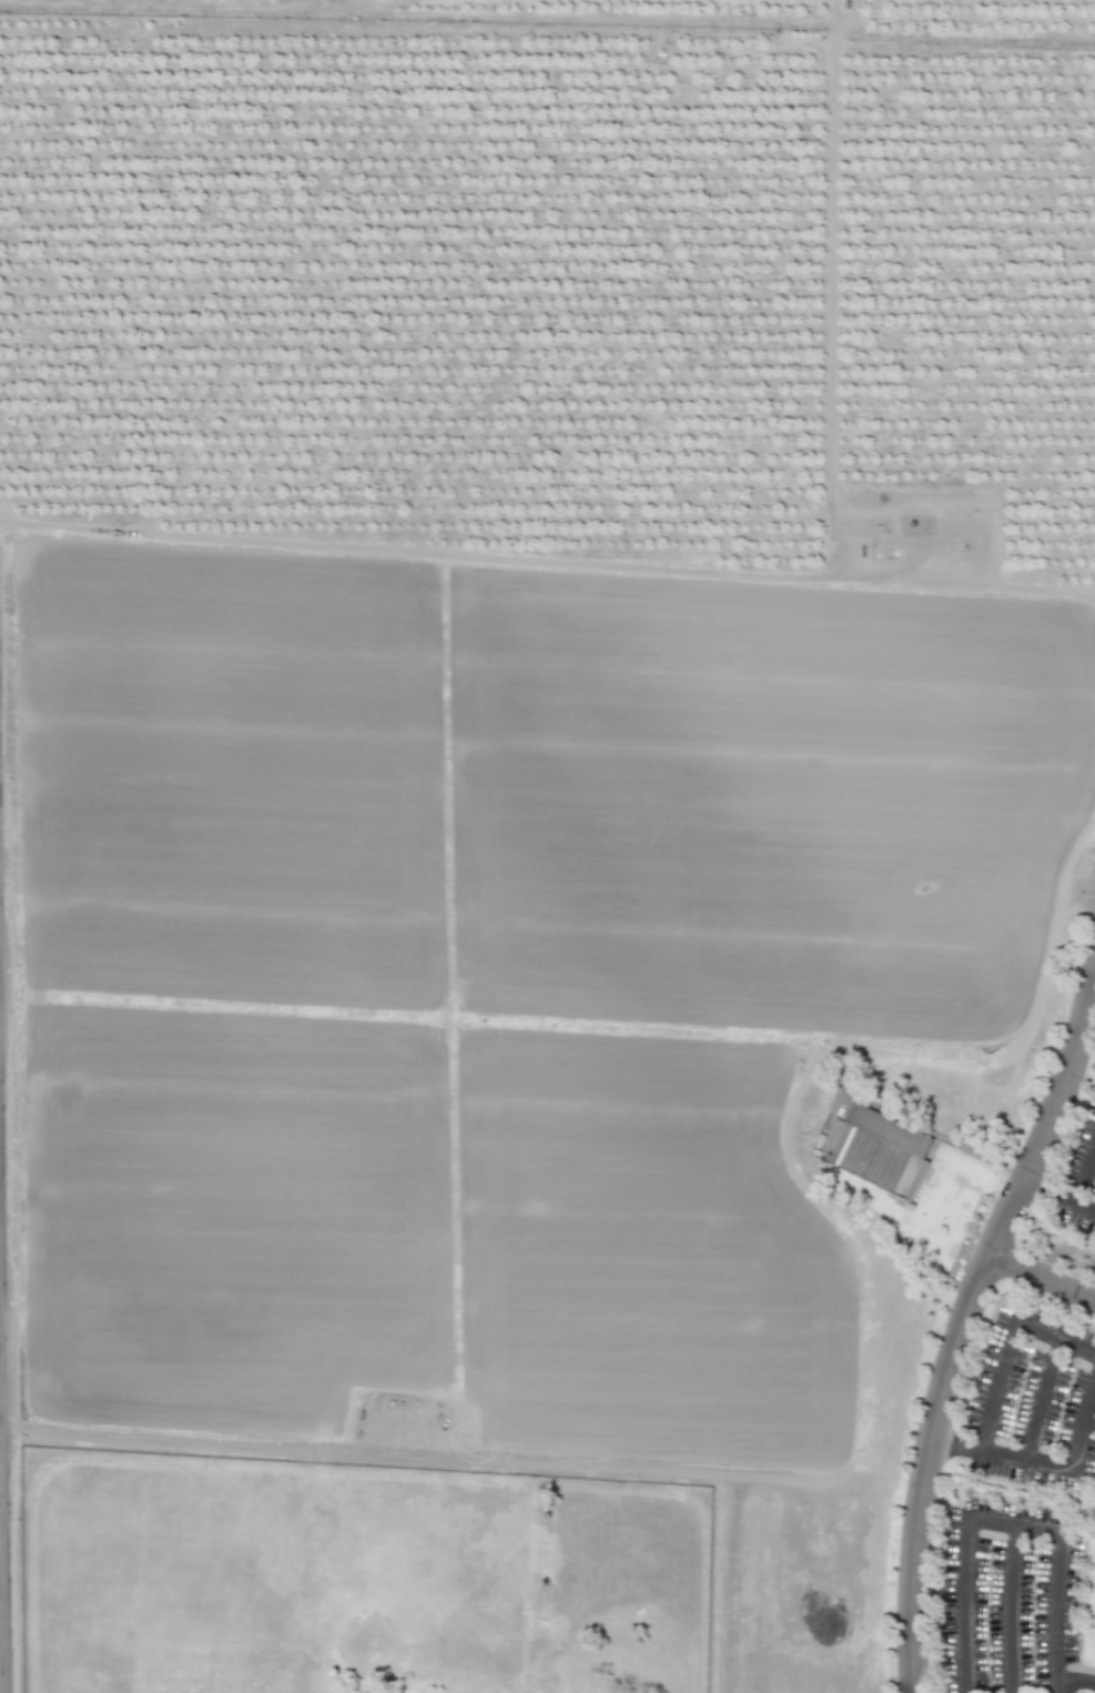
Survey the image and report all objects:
road: (547, 564)
building: (882, 1150)
road: (1083, 1171)
road: (1062, 1195)
road: (1044, 1276)
road: (964, 1333)
road: (1008, 1349)
road: (430, 1454)
road: (1042, 1461)
road: (1003, 1518)
road: (0, 1560)
road: (1011, 1606)
road: (1074, 1676)

